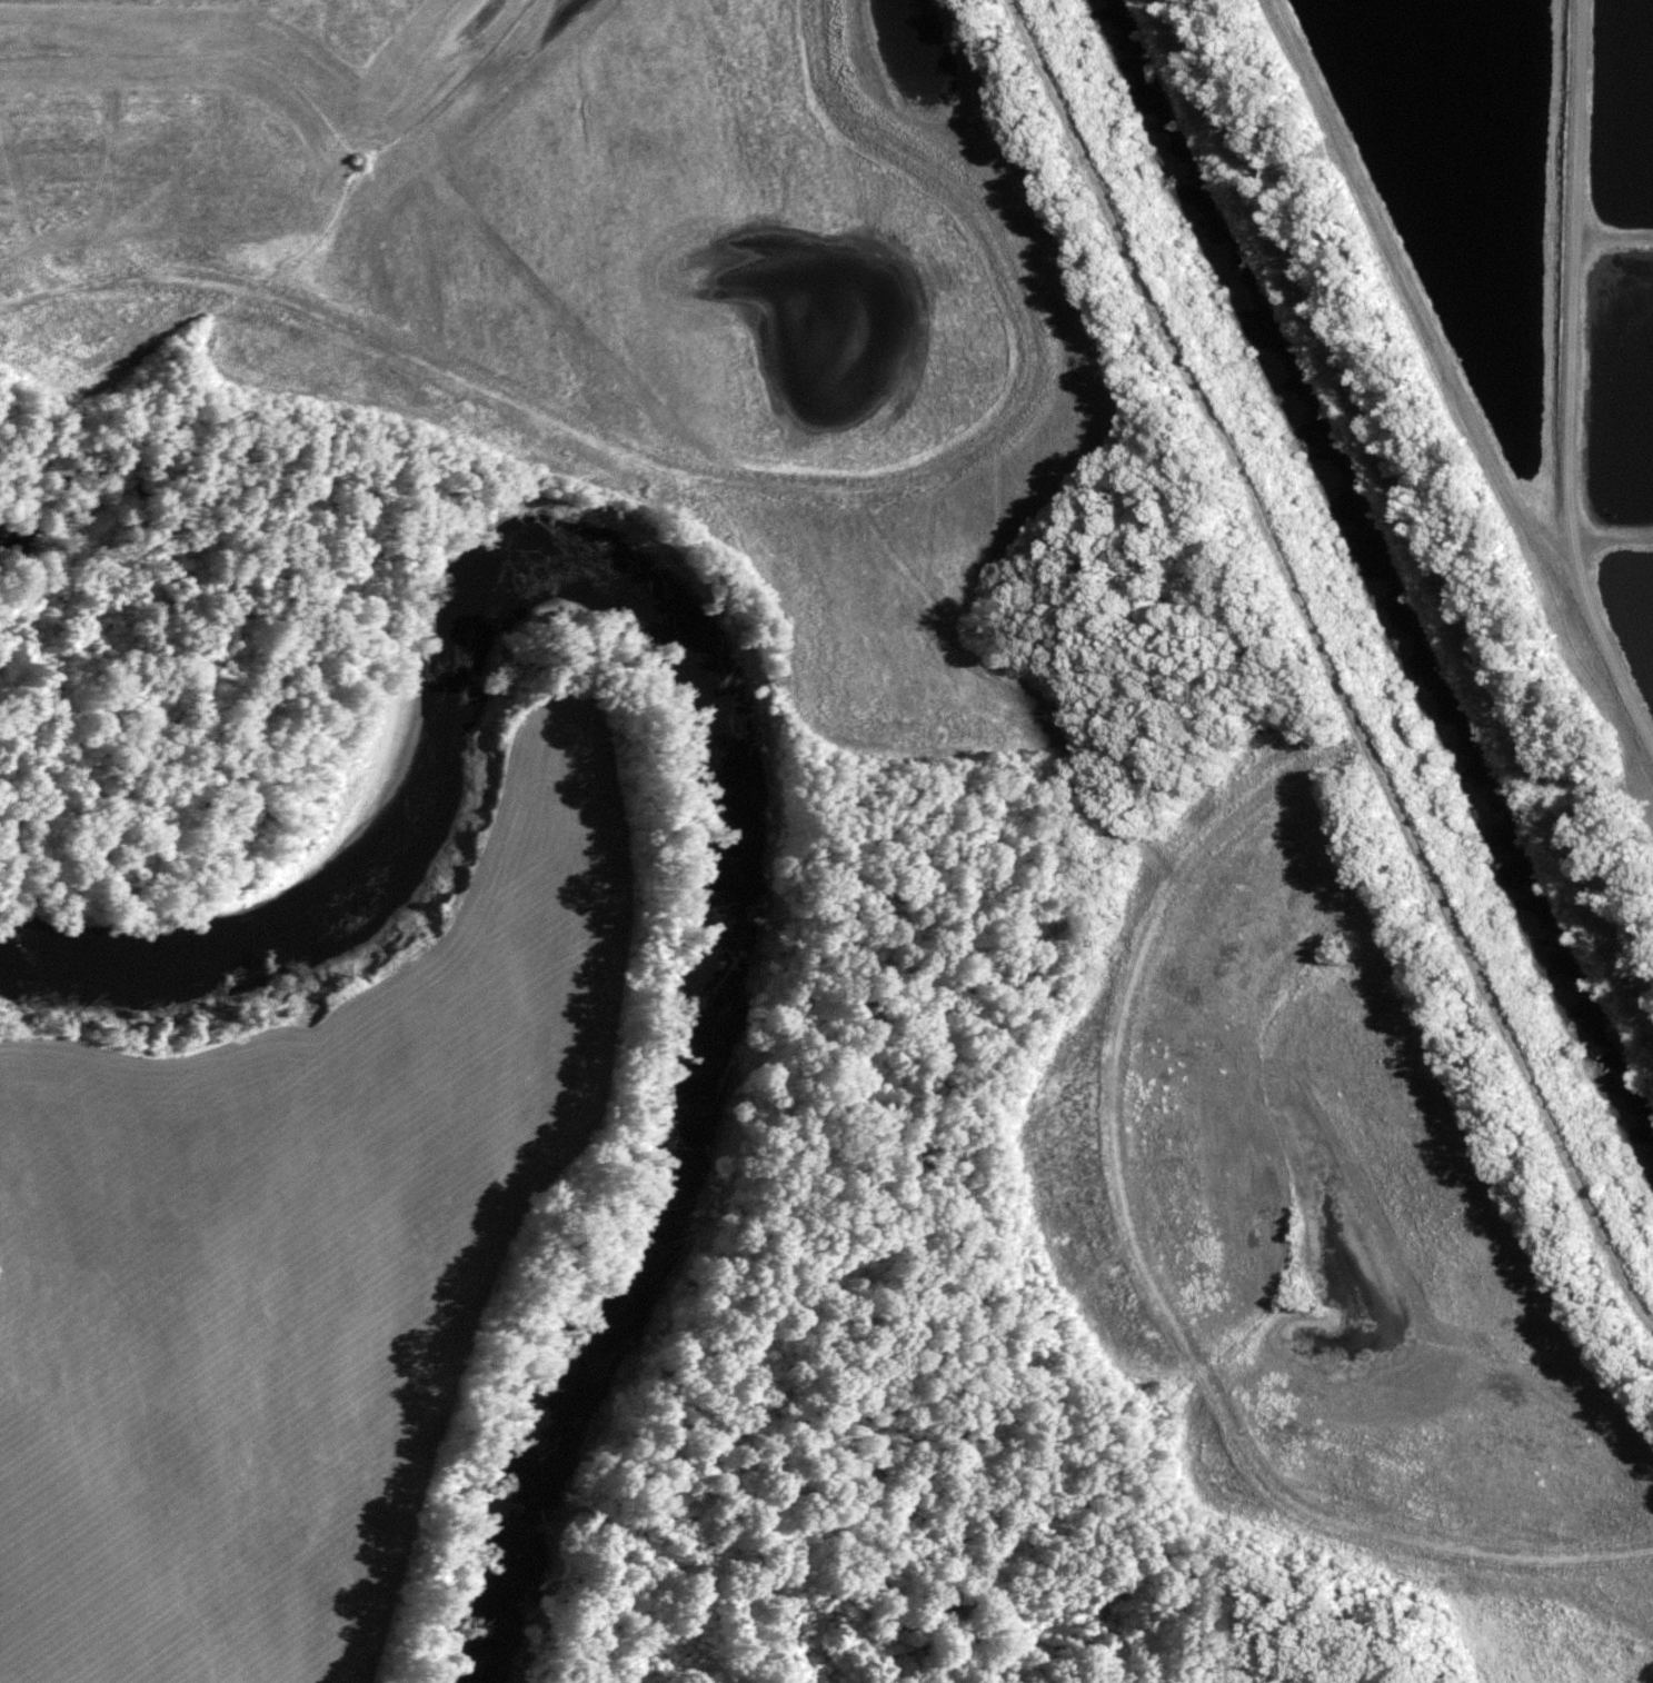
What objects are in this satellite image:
road: (1335, 658)
river: (678, 731)

